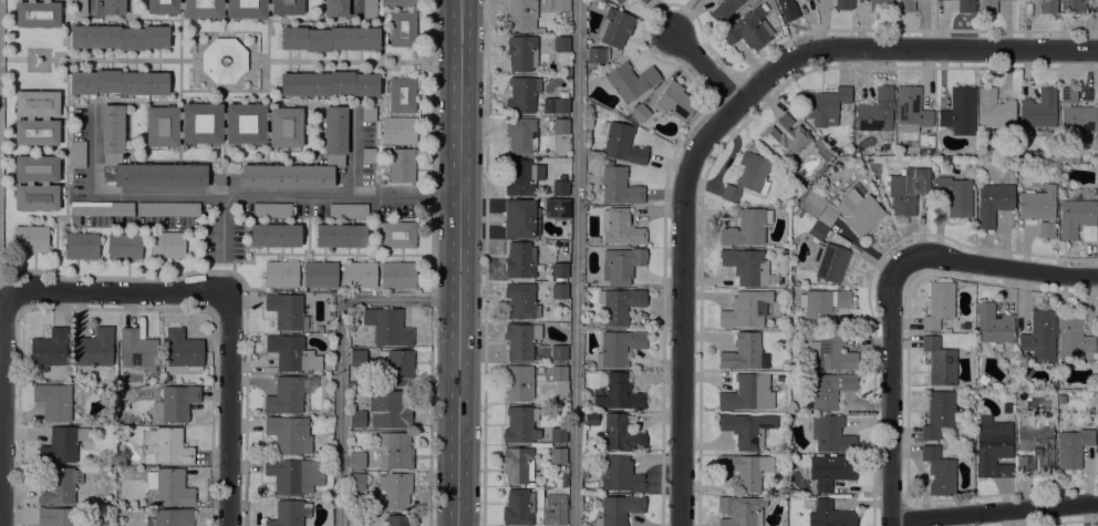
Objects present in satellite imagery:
building: (618, 0)
building: (641, 0)
building: (1013, 0)
building: (645, 1)
building: (398, 2)
building: (561, 4)
building: (843, 4)
building: (881, 6)
building: (905, 6)
building: (965, 6)
building: (987, 6)
building: (1048, 6)
building: (1073, 6)
building: (80, 7)
road: (94, 7)
building: (113, 7)
building: (225, 8)
building: (335, 8)
building: (370, 8)
building: (787, 9)
building: (724, 10)
building: (37, 13)
building: (520, 14)
building: (614, 27)
building: (402, 28)
building: (748, 29)
building: (118, 37)
building: (329, 38)
building: (561, 43)
road: (861, 47)
building: (521, 52)
building: (598, 54)
building: (224, 60)
park: (0, 63)
building: (551, 66)
building: (629, 81)
building: (118, 82)
building: (329, 83)
building: (402, 94)
building: (521, 94)
building: (675, 101)
building: (560, 105)
building: (823, 105)
building: (911, 109)
building: (995, 109)
building: (1038, 109)
building: (960, 110)
building: (876, 111)
building: (639, 112)
building: (1076, 113)
building: (369, 114)
building: (44, 117)
building: (224, 124)
building: (560, 126)
building: (398, 130)
building: (520, 135)
building: (787, 140)
building: (621, 143)
building: (112, 146)
building: (334, 147)
road: (351, 151)
building: (821, 151)
building: (79, 154)
building: (367, 155)
building: (402, 165)
building: (747, 176)
building: (520, 178)
building: (43, 183)
building: (619, 186)
building: (560, 187)
building: (908, 188)
road: (235, 194)
building: (955, 195)
building: (993, 203)
building: (815, 204)
building: (557, 207)
building: (102, 208)
building: (1039, 208)
building: (168, 209)
building: (271, 209)
building: (348, 210)
building: (858, 210)
building: (798, 213)
building: (827, 215)
building: (519, 218)
building: (1077, 219)
road: (220, 227)
building: (621, 227)
building: (746, 227)
building: (817, 229)
building: (397, 234)
building: (274, 235)
building: (340, 235)
building: (31, 238)
building: (558, 243)
building: (166, 244)
building: (81, 246)
building: (125, 246)
building: (519, 259)
building: (830, 261)
road: (434, 262)
road: (459, 262)
road: (483, 262)
road: (574, 262)
building: (621, 264)
building: (746, 266)
road: (997, 266)
building: (559, 270)
building: (281, 274)
building: (320, 274)
building: (359, 274)
building: (398, 275)
building: (559, 290)
road: (116, 291)
building: (520, 300)
road: (6, 303)
road: (681, 303)
building: (619, 305)
building: (822, 305)
building: (939, 305)
building: (745, 309)
building: (287, 311)
building: (993, 323)
building: (387, 326)
building: (946, 329)
building: (1097, 330)
building: (1073, 336)
building: (1039, 337)
building: (520, 340)
building: (95, 347)
building: (618, 347)
building: (48, 350)
building: (137, 350)
building: (183, 350)
road: (336, 350)
building: (558, 352)
building: (744, 352)
building: (831, 352)
building: (291, 353)
building: (358, 358)
building: (940, 361)
building: (397, 365)
building: (539, 369)
building: (558, 372)
building: (983, 379)
building: (518, 382)
building: (351, 383)
building: (829, 389)
road: (890, 392)
building: (619, 393)
building: (747, 393)
building: (284, 396)
building: (58, 401)
building: (175, 403)
building: (1005, 406)
road: (228, 408)
building: (390, 409)
building: (938, 413)
building: (358, 419)
building: (591, 419)
building: (520, 424)
building: (747, 429)
building: (620, 433)
building: (830, 433)
building: (289, 434)
building: (558, 434)
building: (1097, 436)
building: (62, 444)
building: (169, 445)
building: (993, 447)
building: (1073, 447)
building: (1035, 448)
building: (394, 451)
building: (558, 455)
building: (356, 460)
building: (517, 464)
building: (586, 470)
building: (745, 470)
building: (831, 470)
building: (939, 471)
building: (293, 474)
building: (620, 474)
building: (356, 481)
building: (59, 486)
building: (169, 486)
building: (395, 489)
building: (789, 491)
building: (518, 507)
building: (619, 509)
building: (740, 510)
road: (993, 510)
building: (287, 514)
building: (829, 515)
building: (56, 516)
building: (173, 517)
building: (558, 517)
building: (398, 520)

